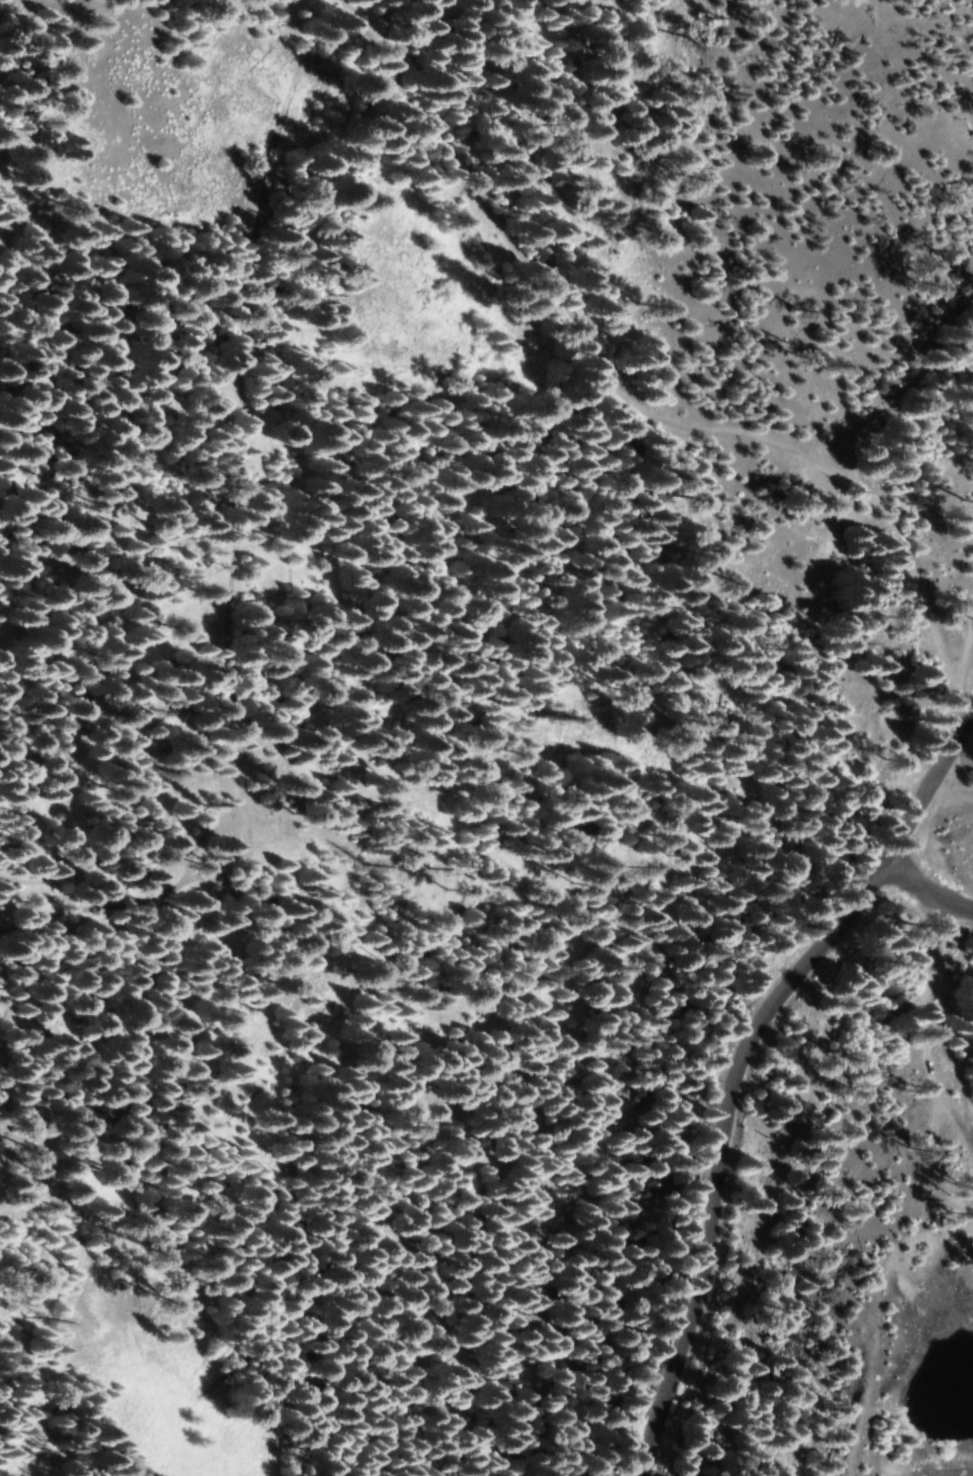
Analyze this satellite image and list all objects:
road: (651, 387)
road: (231, 544)
road: (967, 648)
road: (924, 890)
road: (923, 1027)
road: (739, 1072)
parking lot: (961, 1475)

